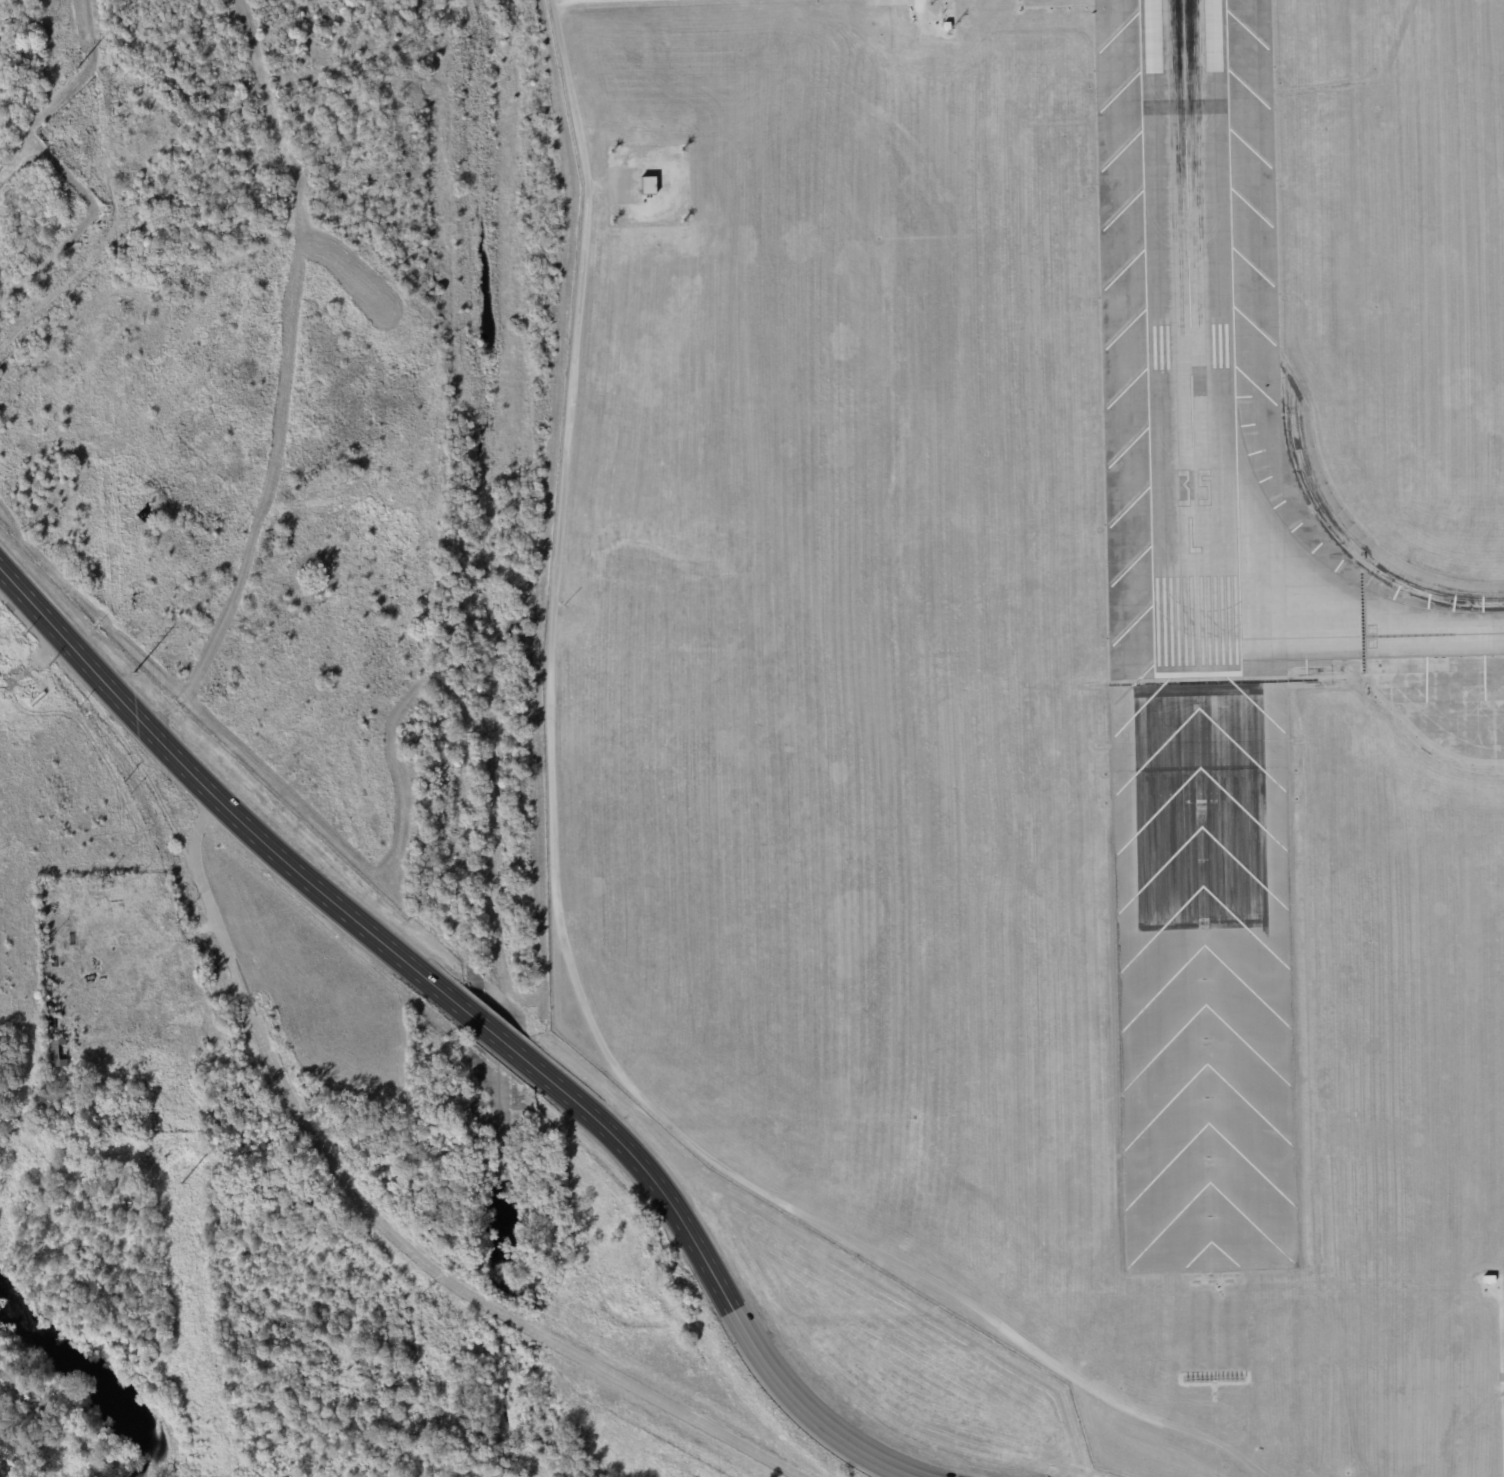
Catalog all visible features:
road: (561, 1)
building: (946, 25)
building: (175, 121)
building: (649, 185)
road: (83, 259)
airport runway: (1189, 336)
airport taxiway: (1330, 636)
airport: (1051, 701)
road: (121, 745)
road: (468, 1016)
building: (58, 1051)
road: (385, 1224)
building: (1489, 1279)
river: (88, 1380)

